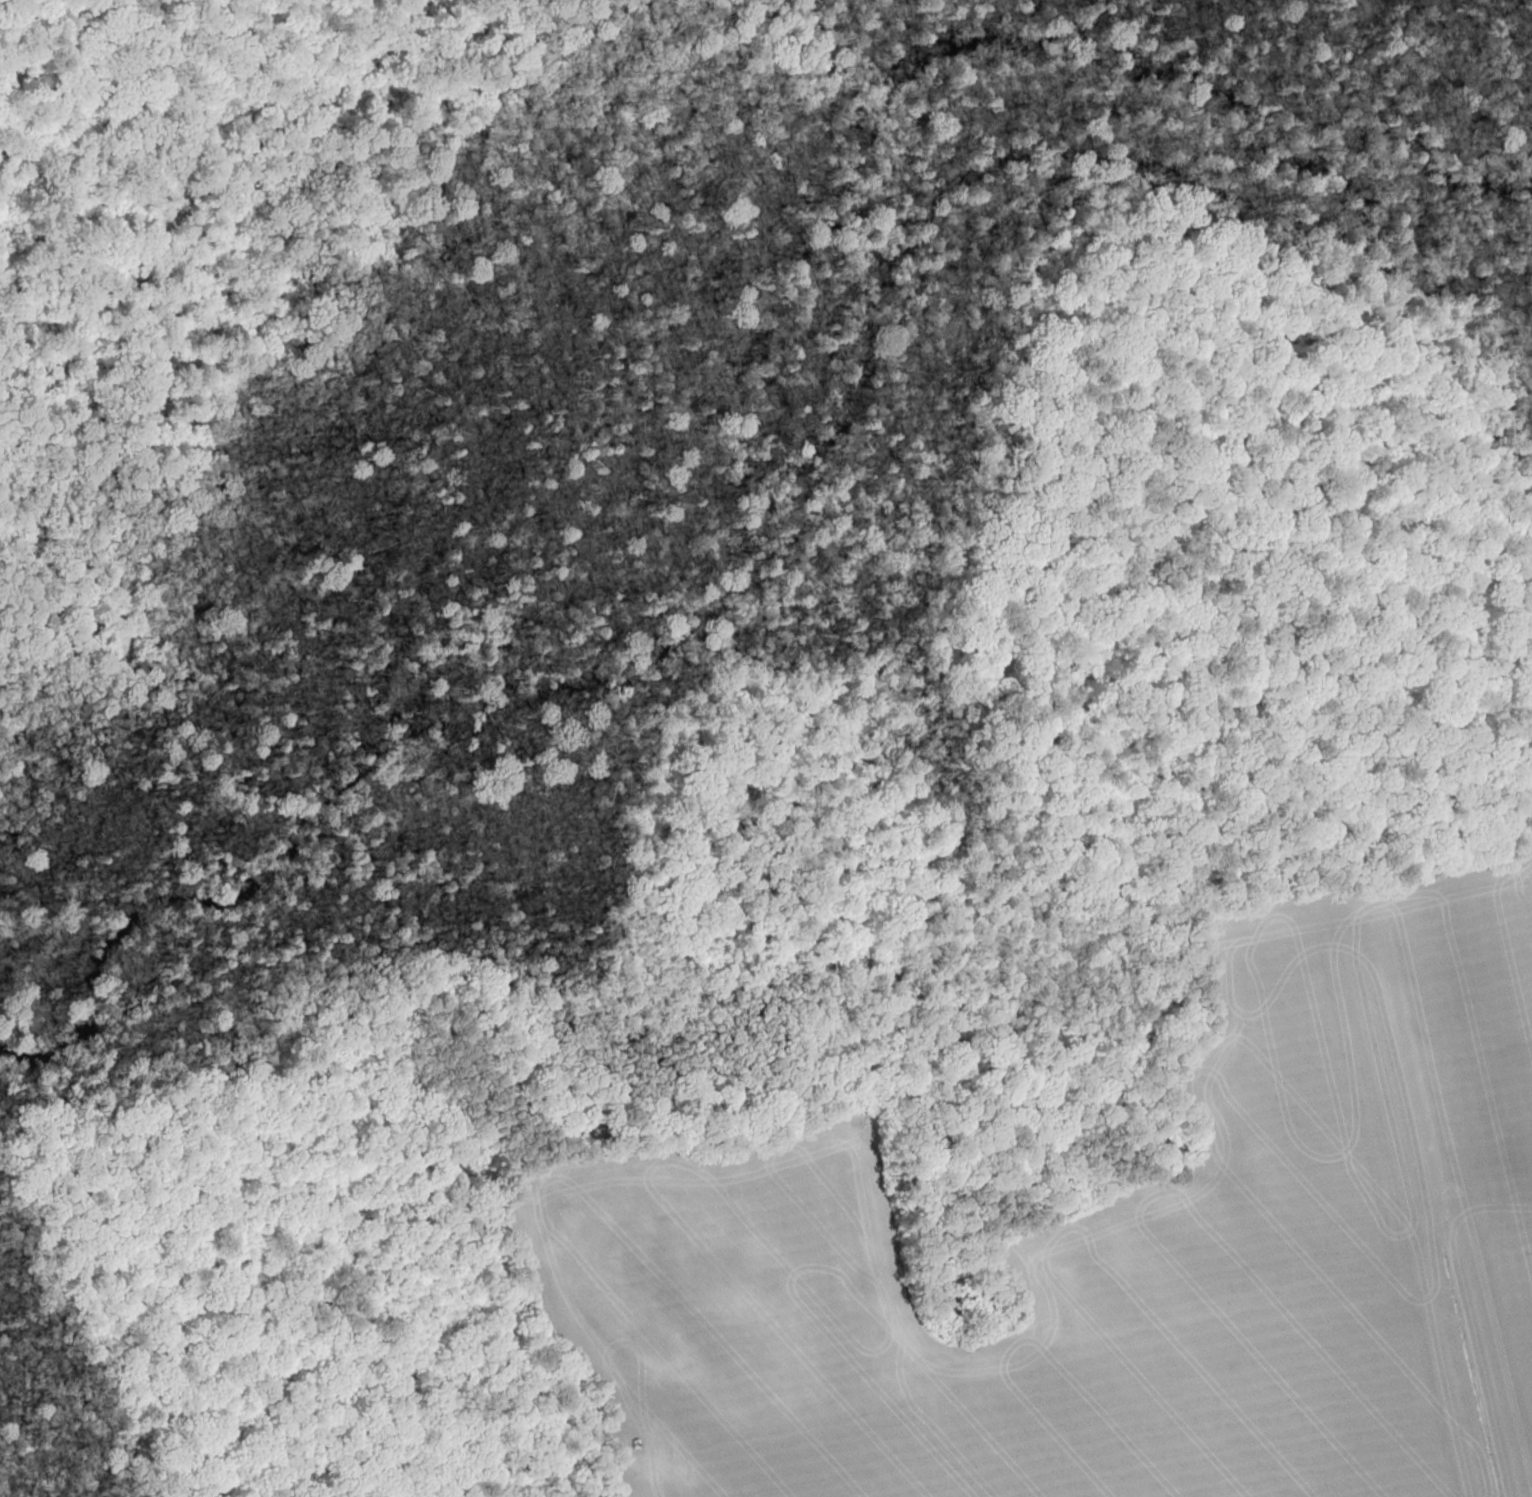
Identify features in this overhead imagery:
park: (674, 616)

